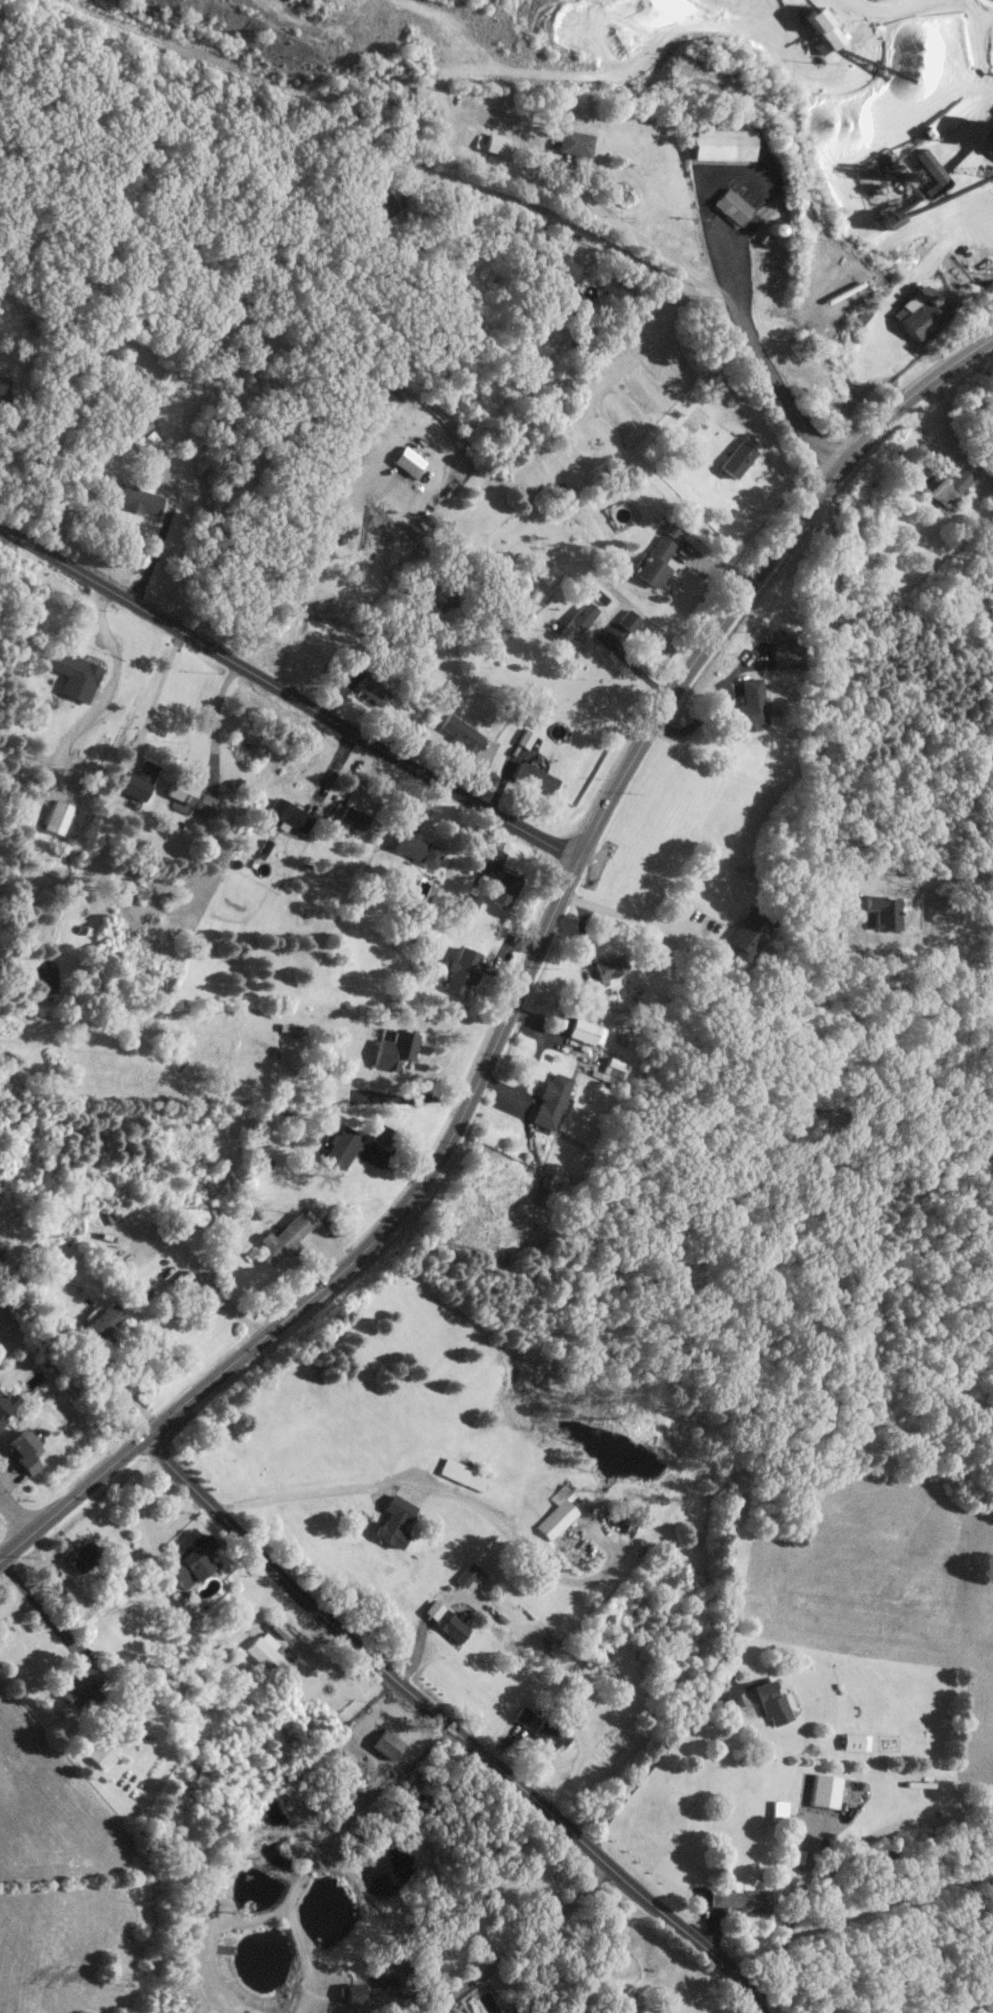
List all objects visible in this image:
building: (820, 27)
building: (572, 142)
building: (495, 143)
building: (716, 143)
road: (586, 197)
building: (729, 206)
building: (375, 210)
building: (559, 265)
road: (660, 275)
road: (906, 286)
building: (915, 316)
building: (3, 387)
building: (136, 424)
building: (410, 457)
building: (736, 459)
road: (360, 485)
building: (946, 486)
building: (133, 498)
building: (353, 536)
road: (156, 555)
building: (653, 562)
building: (628, 620)
building: (576, 622)
building: (784, 653)
building: (361, 657)
building: (71, 675)
building: (369, 690)
road: (287, 692)
road: (110, 694)
road: (158, 696)
road: (825, 701)
building: (748, 702)
road: (713, 708)
building: (457, 733)
building: (533, 778)
building: (138, 782)
building: (180, 792)
building: (210, 806)
building: (290, 815)
building: (56, 817)
building: (350, 819)
building: (414, 849)
building: (500, 888)
road: (633, 911)
building: (748, 931)
building: (608, 967)
building: (458, 971)
road: (525, 972)
building: (586, 1031)
building: (392, 1050)
road: (411, 1097)
building: (548, 1101)
building: (337, 1146)
building: (283, 1239)
building: (177, 1286)
road: (227, 1302)
building: (103, 1318)
road: (126, 1388)
building: (5, 1405)
building: (22, 1451)
building: (462, 1473)
road: (438, 1490)
road: (16, 1513)
building: (554, 1513)
road: (150, 1528)
building: (391, 1528)
building: (81, 1556)
building: (189, 1560)
building: (468, 1574)
road: (79, 1586)
road: (36, 1599)
building: (451, 1625)
building: (265, 1654)
building: (81, 1686)
building: (766, 1702)
building: (523, 1716)
road: (452, 1728)
building: (549, 1733)
building: (855, 1742)
building: (385, 1744)
building: (101, 1752)
road: (656, 1757)
building: (822, 1790)
building: (777, 1810)
road: (333, 1852)
road: (840, 1858)
building: (739, 1898)
building: (223, 1949)
road: (522, 1955)
building: (388, 1965)
power tower: (134, 1980)
building: (350, 1993)

